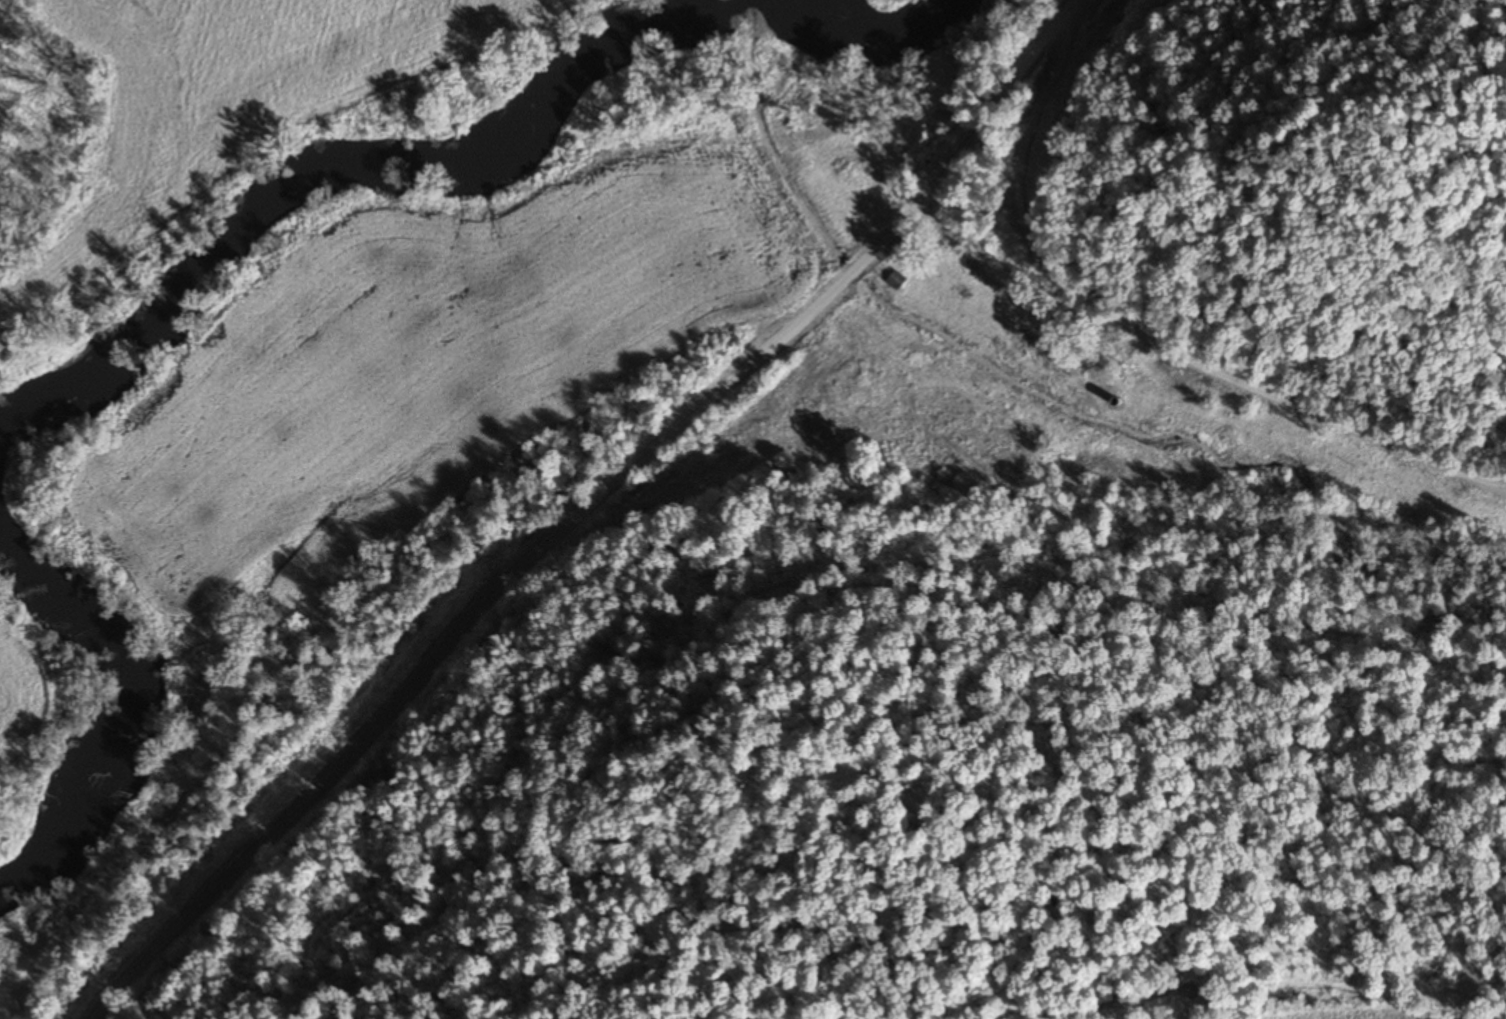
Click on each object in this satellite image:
river: (460, 159)
building: (895, 279)
road: (1150, 340)
road: (587, 509)
road: (530, 633)
road: (1499, 637)
river: (131, 699)

